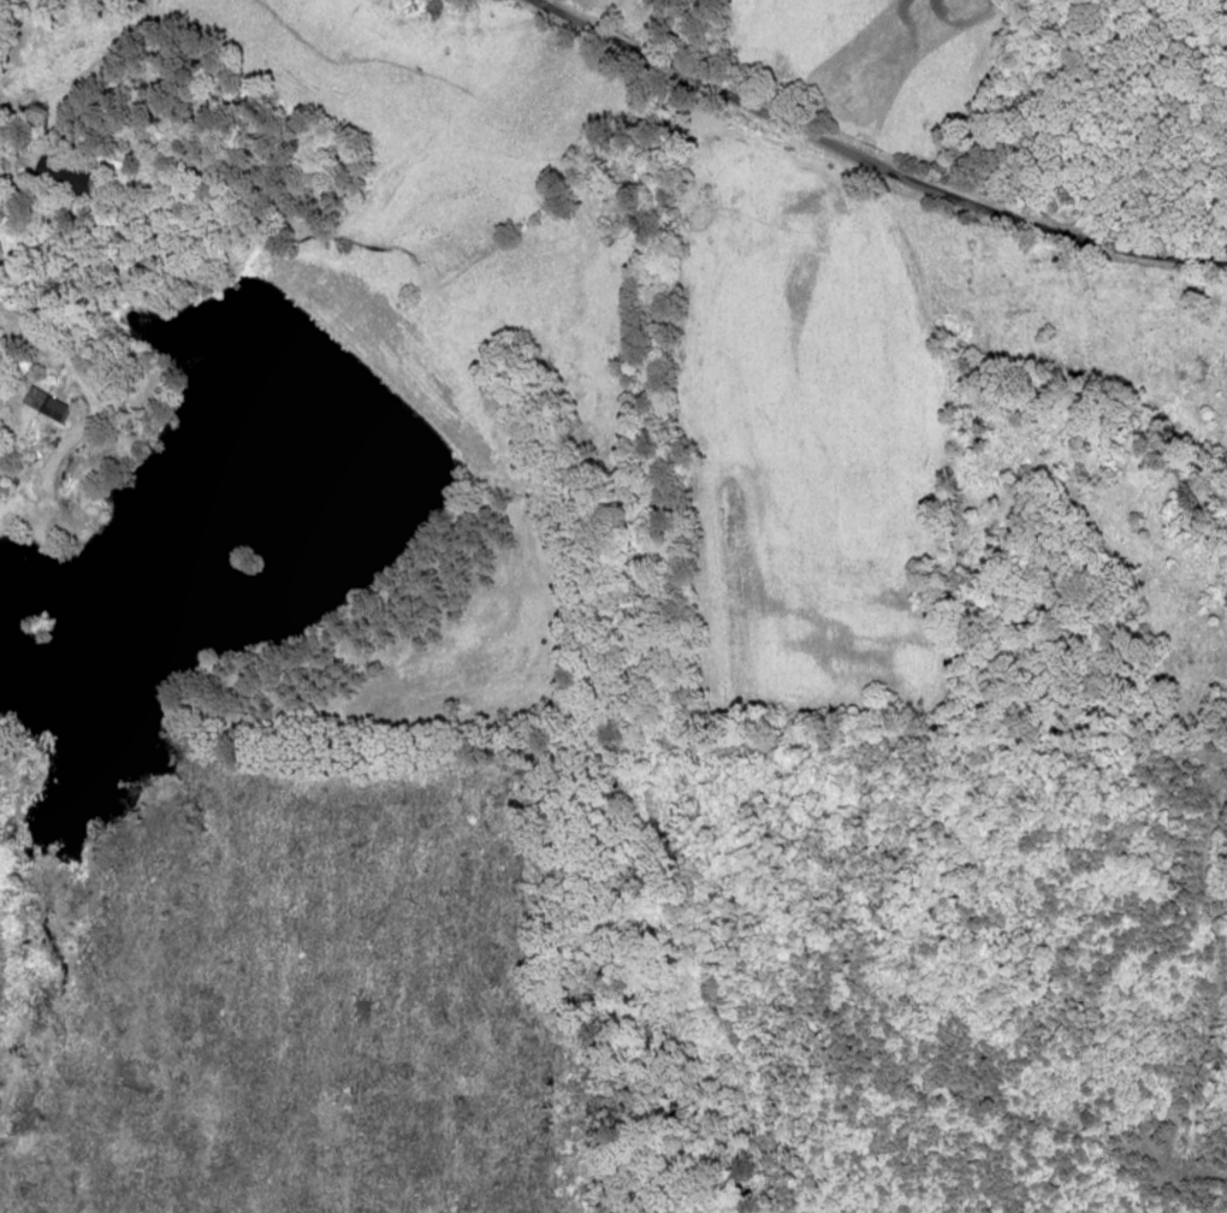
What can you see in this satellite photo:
road: (860, 156)
building: (67, 176)
building: (49, 402)

